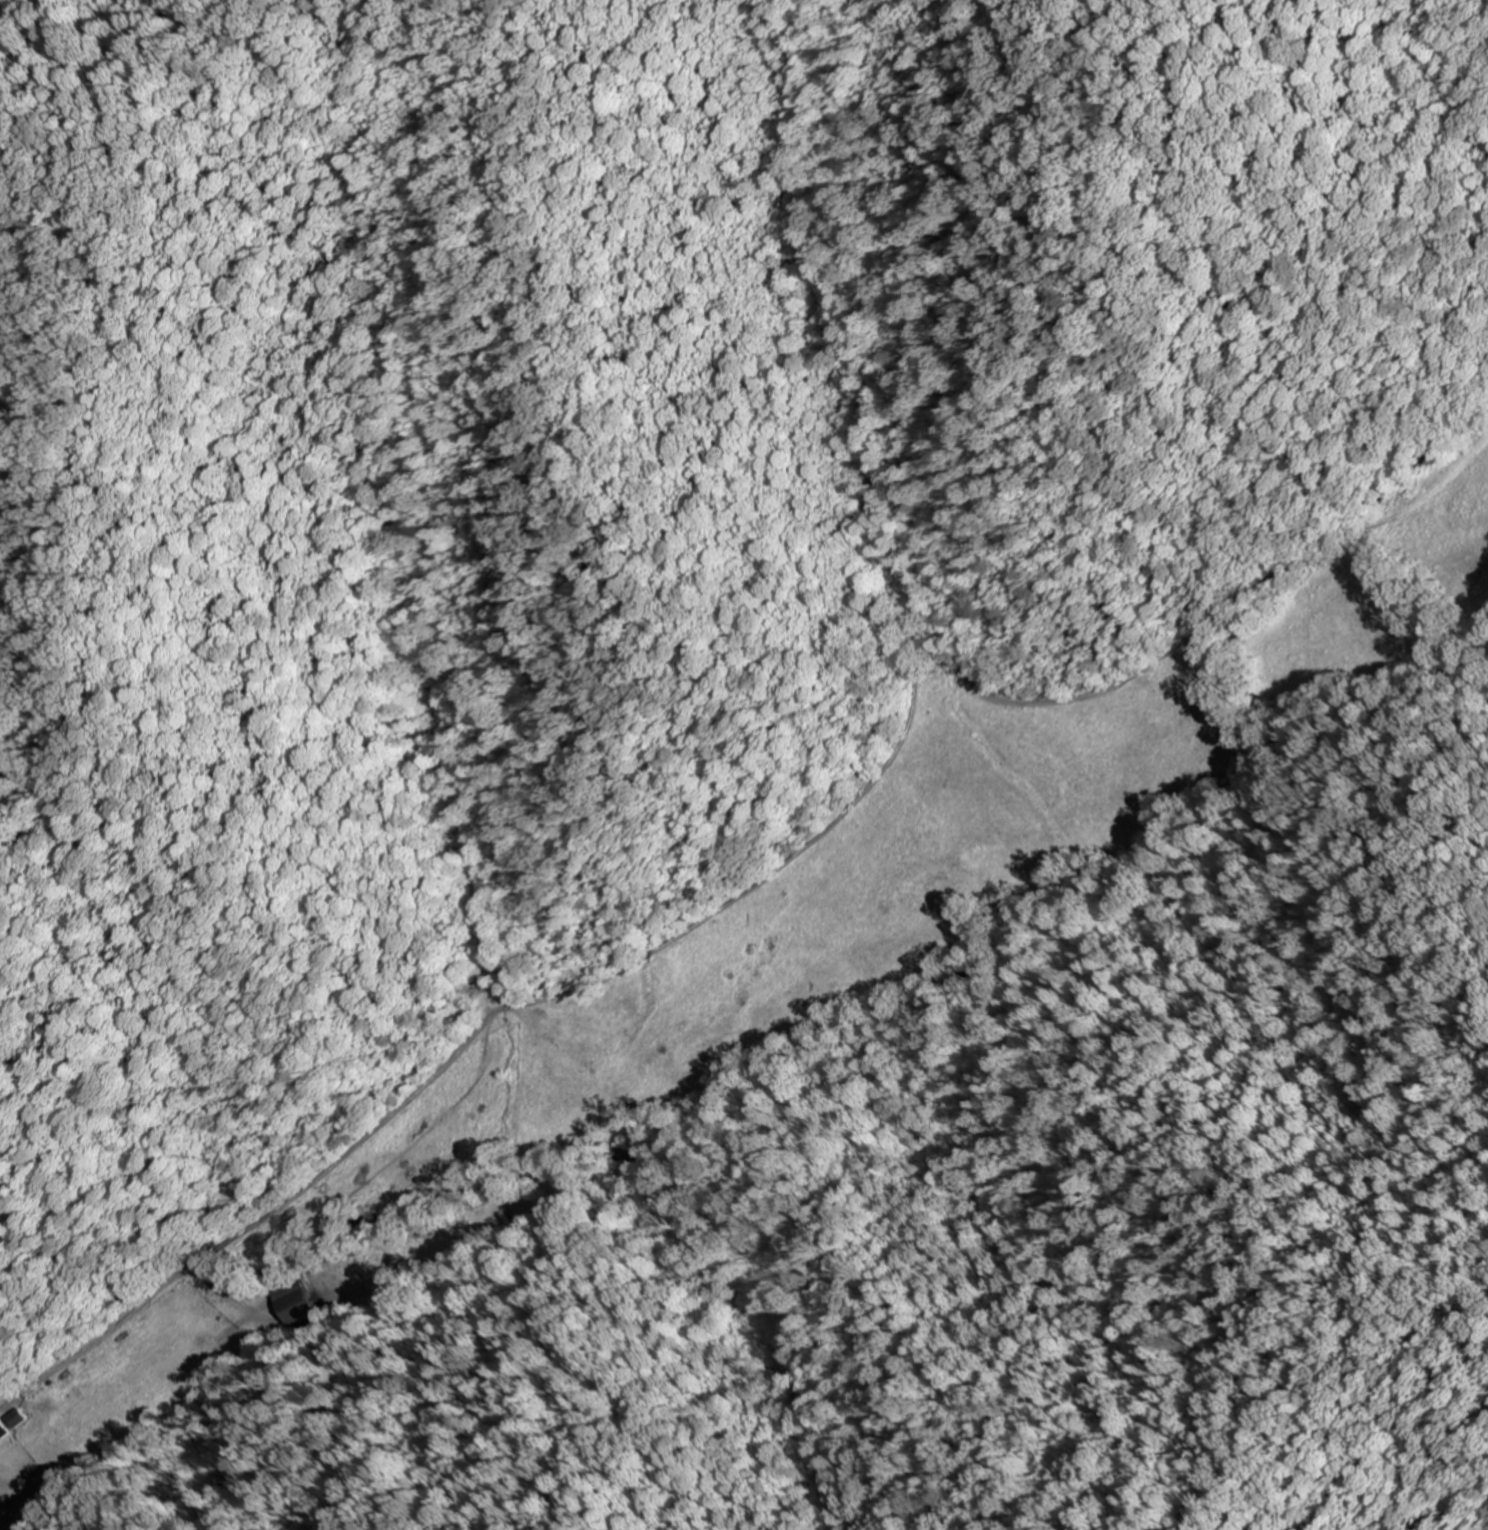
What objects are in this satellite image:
building: (298, 1299)
building: (18, 1418)
building: (3, 1431)

